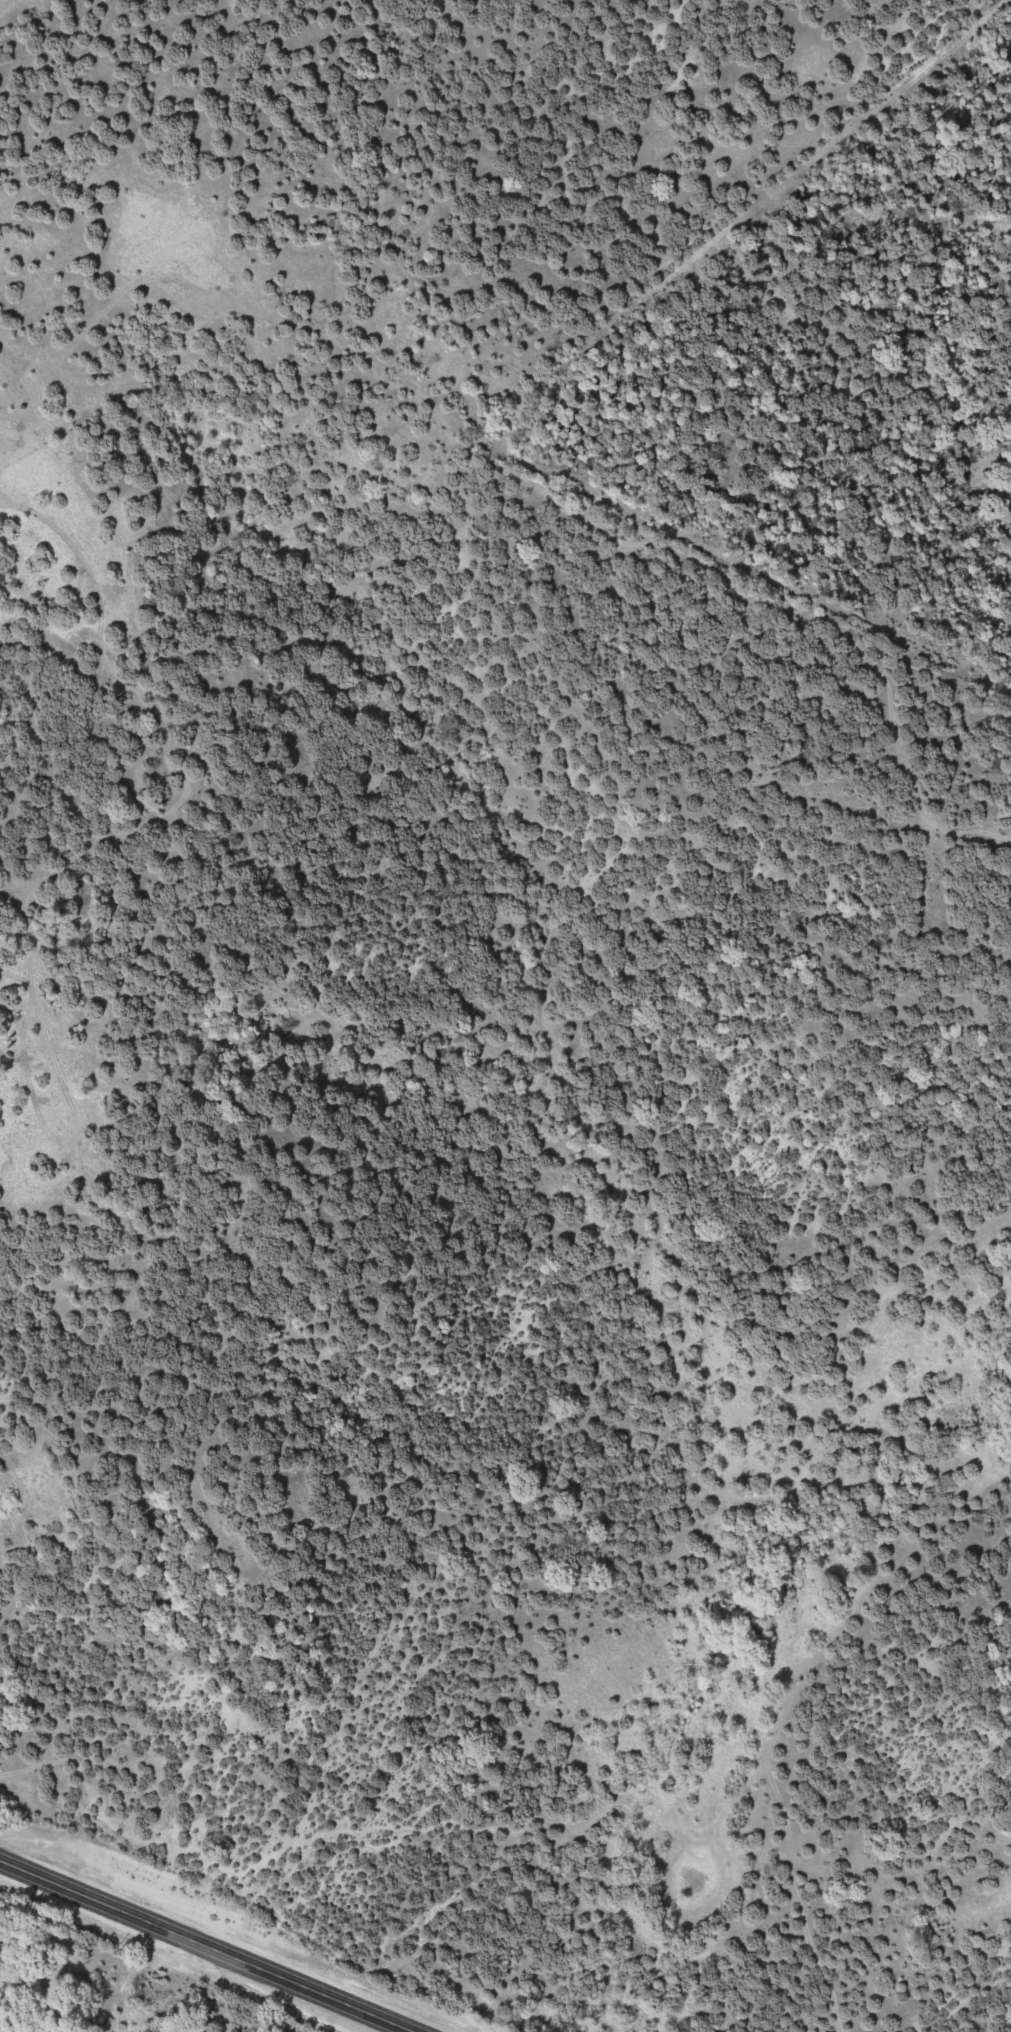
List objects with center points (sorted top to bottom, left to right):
road: (49, 864)
road: (213, 1943)
building: (159, 2001)

